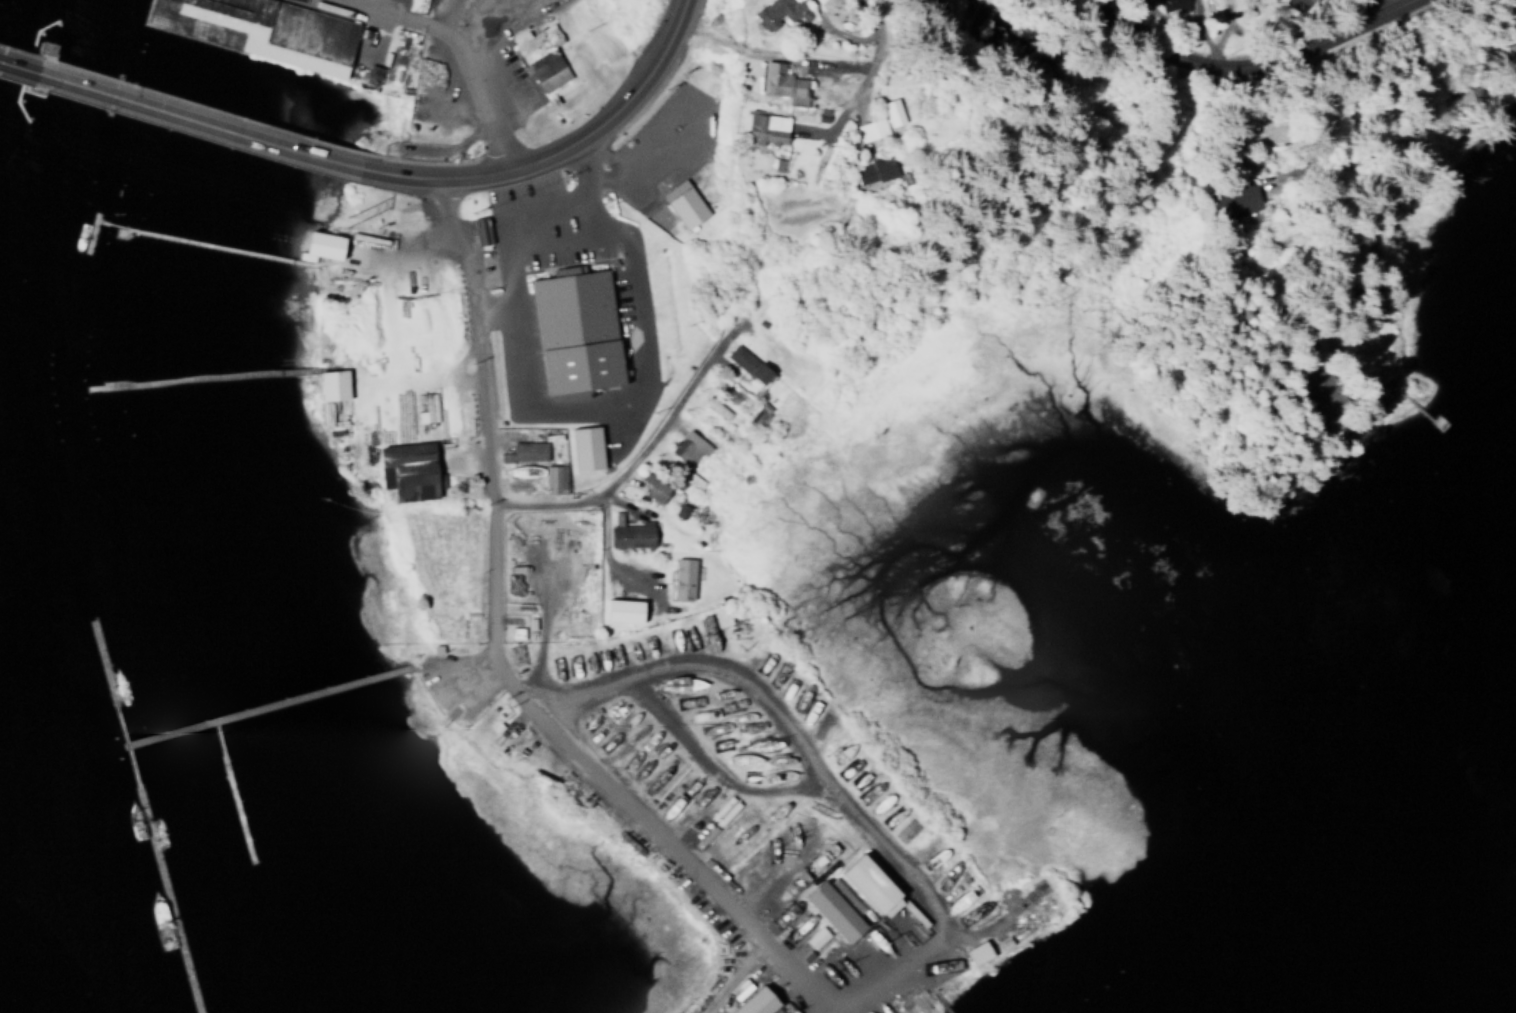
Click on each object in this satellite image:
building: (1248, 2)
building: (1298, 4)
building: (1170, 6)
road: (1372, 6)
building: (780, 12)
pier: (203, 20)
building: (263, 30)
road: (1222, 31)
road: (869, 40)
road: (460, 44)
building: (541, 55)
road: (1241, 62)
road: (15, 63)
parking lot: (505, 66)
building: (781, 82)
building: (893, 111)
road: (202, 118)
building: (766, 128)
building: (870, 129)
road: (563, 144)
parking lot: (659, 145)
building: (875, 170)
road: (633, 187)
building: (1234, 200)
building: (685, 202)
road: (109, 223)
pier: (88, 231)
road: (503, 232)
parking lot: (563, 235)
building: (320, 245)
pier: (214, 246)
building: (572, 269)
building: (578, 332)
road: (471, 336)
building: (748, 363)
pier: (198, 380)
building: (331, 385)
building: (439, 416)
building: (757, 416)
building: (688, 446)
building: (585, 448)
building: (525, 451)
road: (639, 456)
building: (407, 471)
building: (525, 474)
building: (551, 478)
building: (655, 487)
building: (631, 533)
building: (683, 578)
building: (514, 579)
building: (623, 609)
building: (514, 654)
pier: (101, 662)
parking lot: (456, 681)
pier: (264, 704)
road: (117, 720)
road: (217, 745)
building: (742, 759)
road: (805, 760)
road: (710, 768)
road: (129, 769)
road: (594, 784)
pier: (239, 812)
building: (874, 883)
pier: (164, 898)
building: (837, 907)
building: (816, 937)
building: (978, 952)
road: (907, 989)
building: (759, 1002)
pier: (937, 1002)

